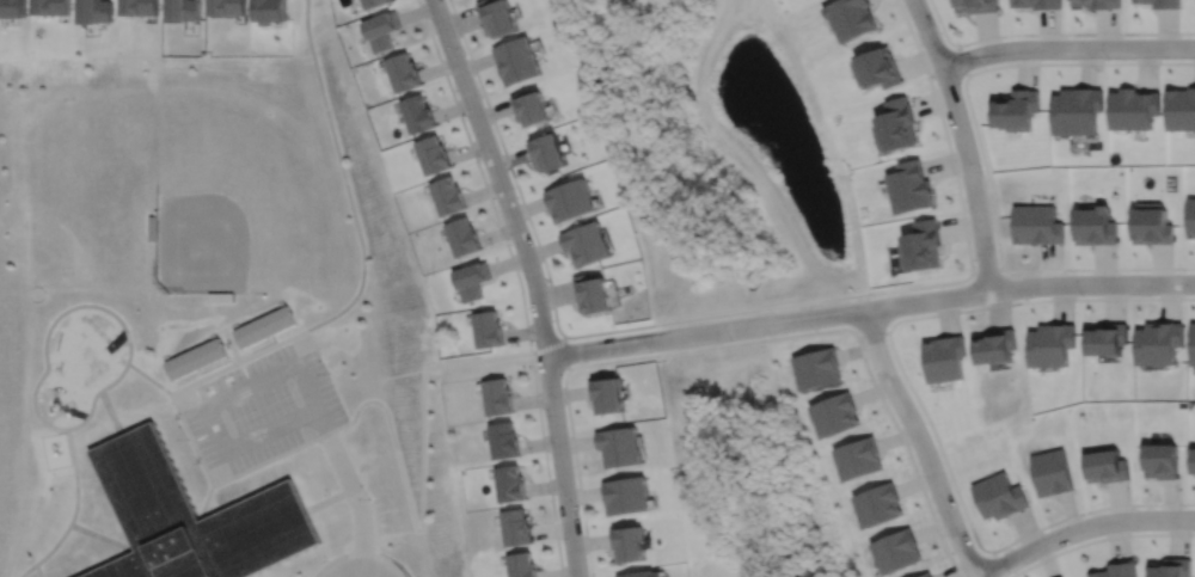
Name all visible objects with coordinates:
building: (372, 2)
building: (1038, 2)
building: (1099, 2)
building: (1166, 2)
building: (976, 4)
building: (137, 6)
building: (226, 6)
building: (182, 8)
building: (270, 10)
building: (500, 16)
building: (851, 17)
building: (381, 27)
road: (1048, 32)
road: (1066, 47)
building: (519, 57)
road: (1136, 61)
building: (878, 67)
building: (403, 69)
building: (533, 105)
building: (1133, 108)
building: (1181, 108)
building: (1017, 109)
building: (1077, 109)
building: (418, 111)
building: (896, 123)
road: (963, 141)
building: (550, 151)
building: (433, 153)
road: (510, 166)
building: (909, 185)
park: (80, 192)
building: (448, 194)
building: (572, 198)
road: (528, 207)
park: (231, 211)
building: (1190, 216)
building: (1036, 223)
building: (1095, 223)
building: (1151, 223)
building: (152, 226)
building: (464, 235)
building: (589, 243)
building: (923, 244)
road: (1048, 268)
building: (472, 280)
road: (517, 281)
road: (533, 281)
building: (595, 293)
building: (220, 295)
road: (87, 303)
road: (869, 305)
road: (239, 319)
road: (241, 323)
road: (234, 325)
building: (264, 325)
building: (489, 329)
road: (871, 332)
road: (208, 333)
road: (214, 336)
building: (1108, 338)
road: (739, 342)
building: (1160, 342)
building: (1194, 343)
building: (1052, 344)
building: (995, 345)
road: (256, 346)
road: (188, 348)
road: (565, 352)
road: (166, 357)
building: (944, 357)
building: (195, 358)
road: (217, 361)
building: (816, 367)
road: (280, 369)
road: (147, 376)
building: (607, 394)
building: (497, 397)
road: (915, 397)
parking lot: (259, 406)
road: (357, 409)
road: (111, 412)
building: (834, 413)
building: (503, 440)
road: (920, 441)
building: (621, 446)
building: (858, 458)
building: (1193, 460)
building: (1162, 461)
building: (1107, 466)
building: (1053, 472)
building: (509, 484)
building: (629, 496)
building: (999, 496)
road: (330, 497)
road: (206, 501)
building: (878, 504)
road: (73, 512)
building: (195, 518)
building: (515, 527)
road: (1080, 527)
road: (102, 536)
building: (629, 545)
building: (896, 551)
road: (358, 552)
building: (521, 565)
road: (358, 566)
building: (1172, 567)
road: (36, 570)
building: (1117, 570)
building: (644, 573)
building: (927, 575)

